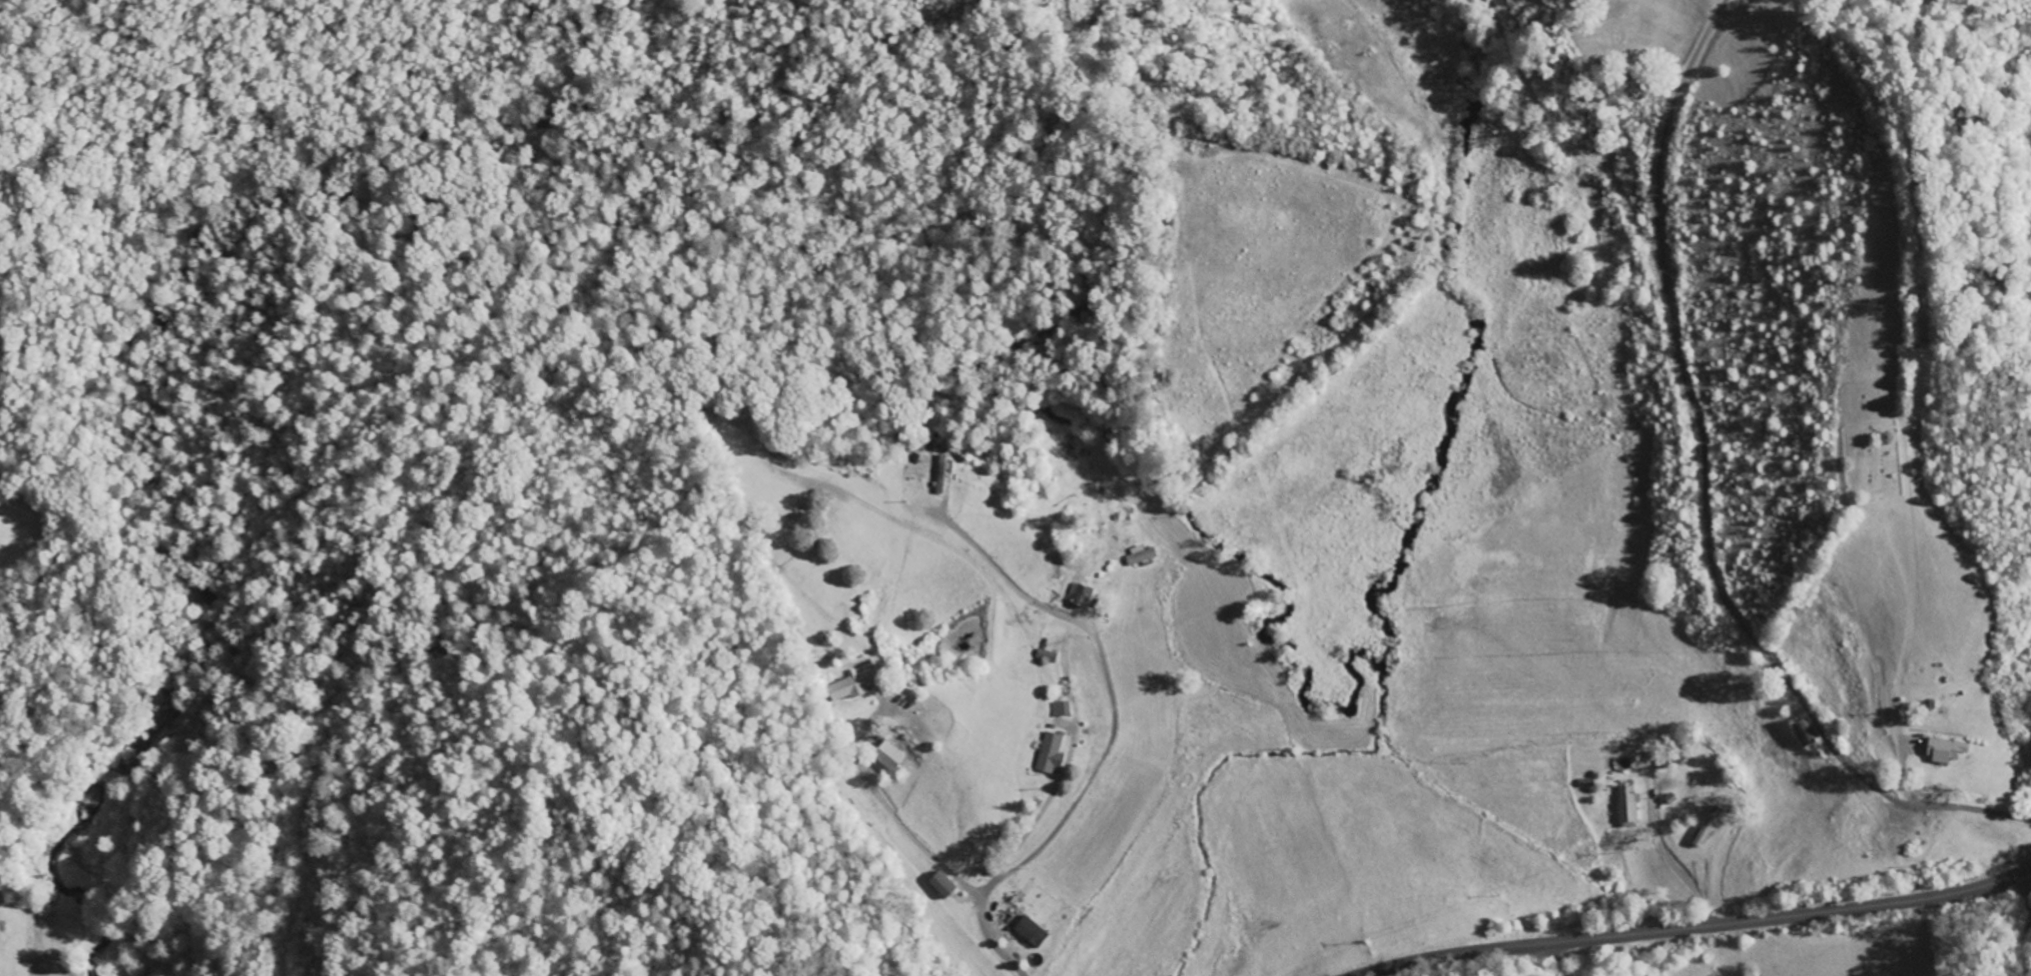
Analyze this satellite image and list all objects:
building: (941, 474)
road: (1703, 495)
building: (1139, 556)
building: (1078, 596)
building: (854, 684)
building: (1060, 709)
building: (1803, 732)
building: (1945, 749)
building: (1050, 753)
building: (888, 756)
building: (1627, 807)
building: (1706, 827)
road: (1056, 828)
road: (2030, 873)
building: (941, 884)
road: (941, 911)
road: (1701, 927)
building: (1030, 932)
road: (2025, 939)
road: (1557, 960)

